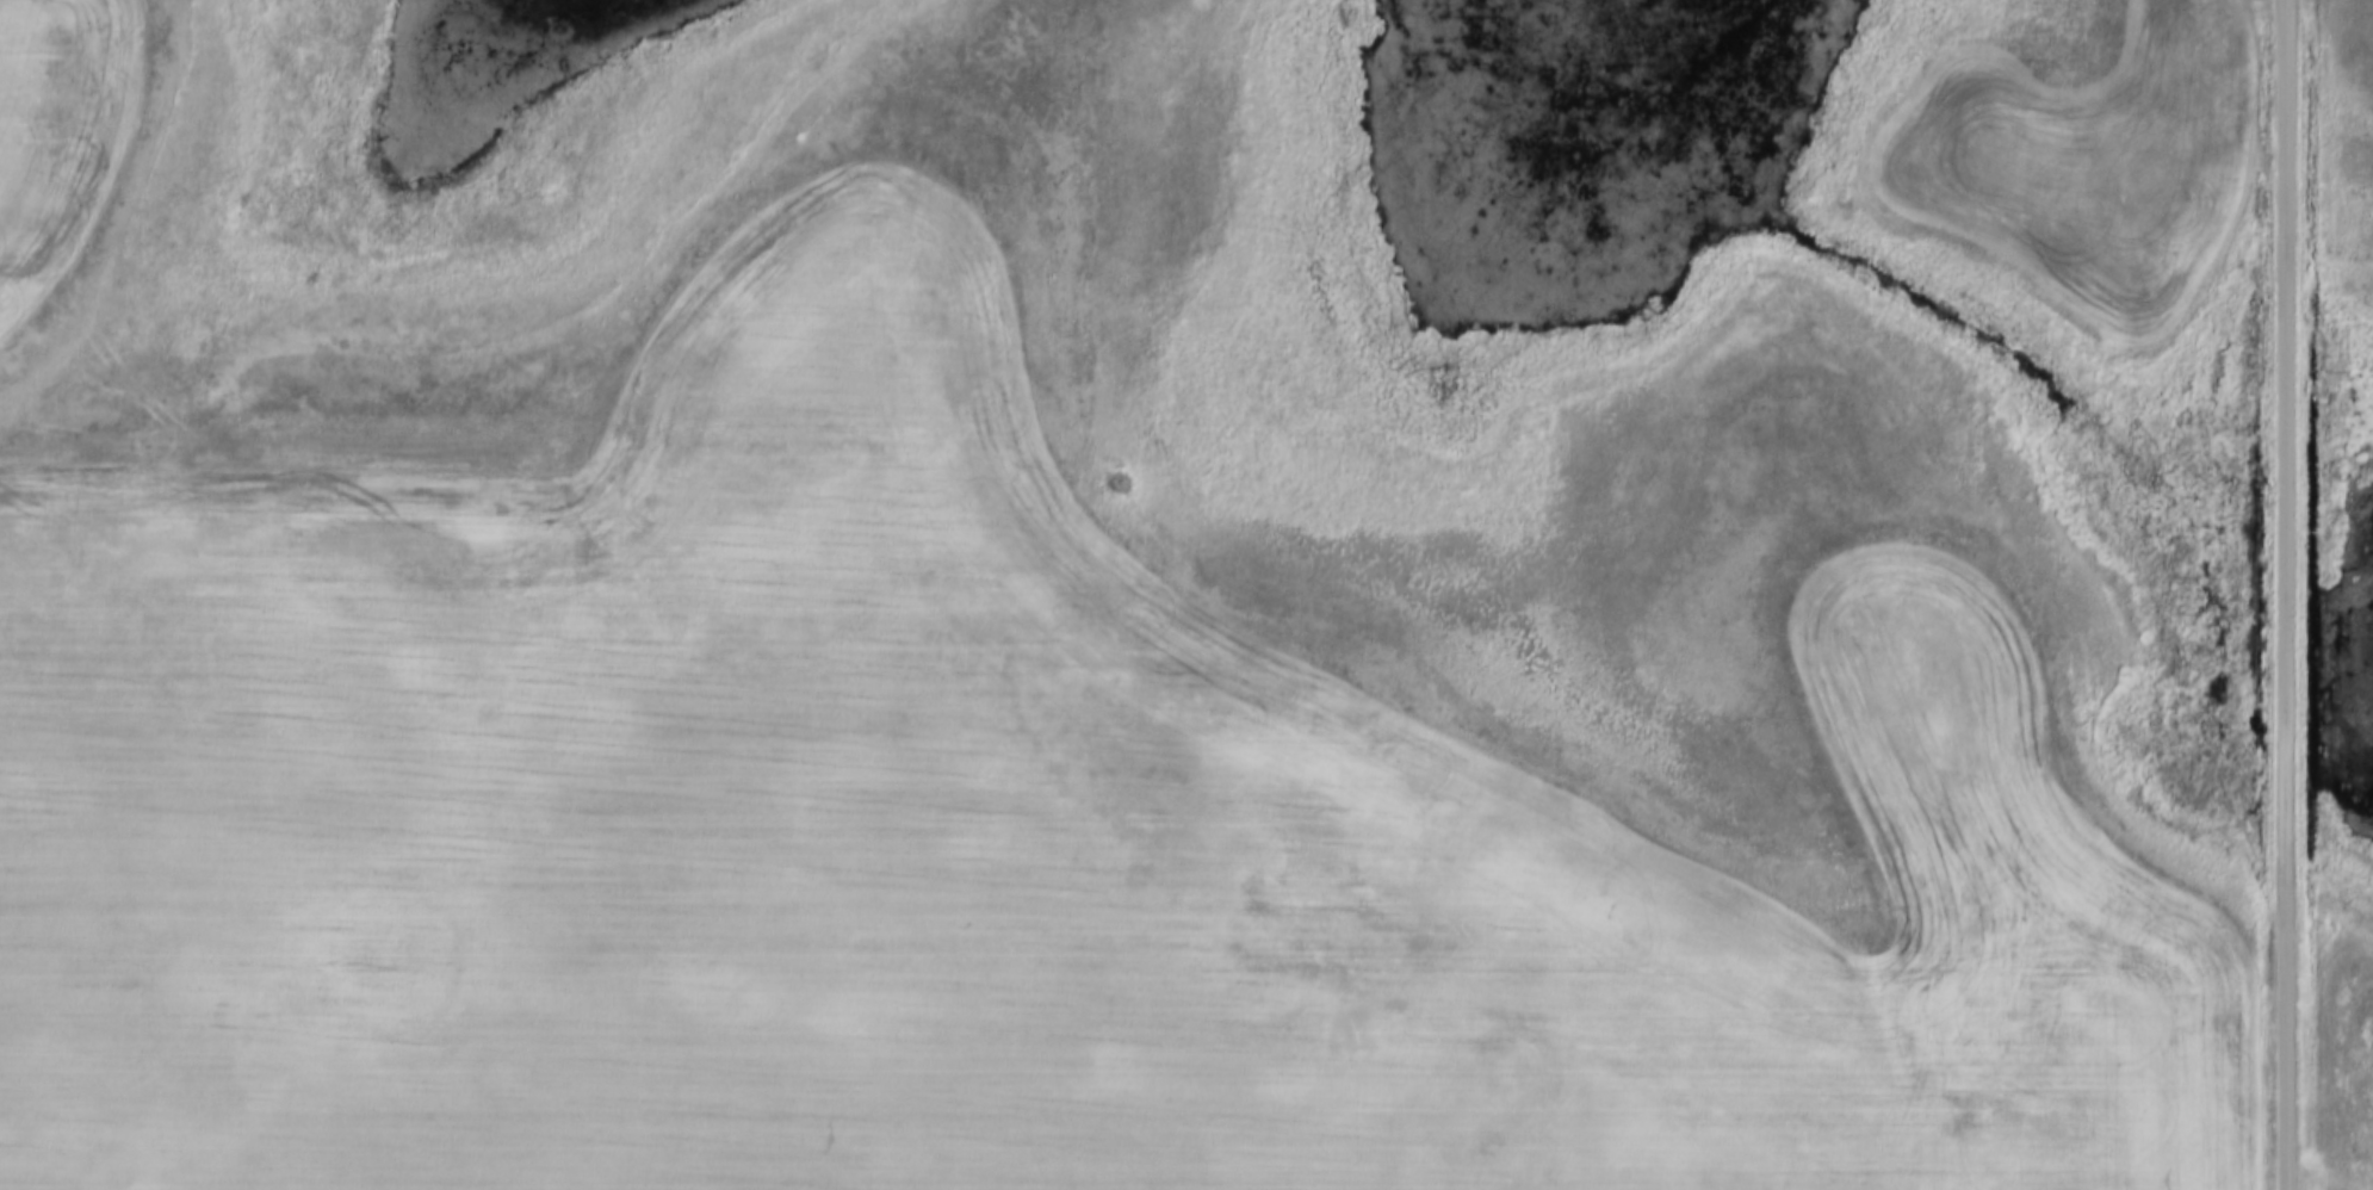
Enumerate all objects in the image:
road: (2284, 595)

